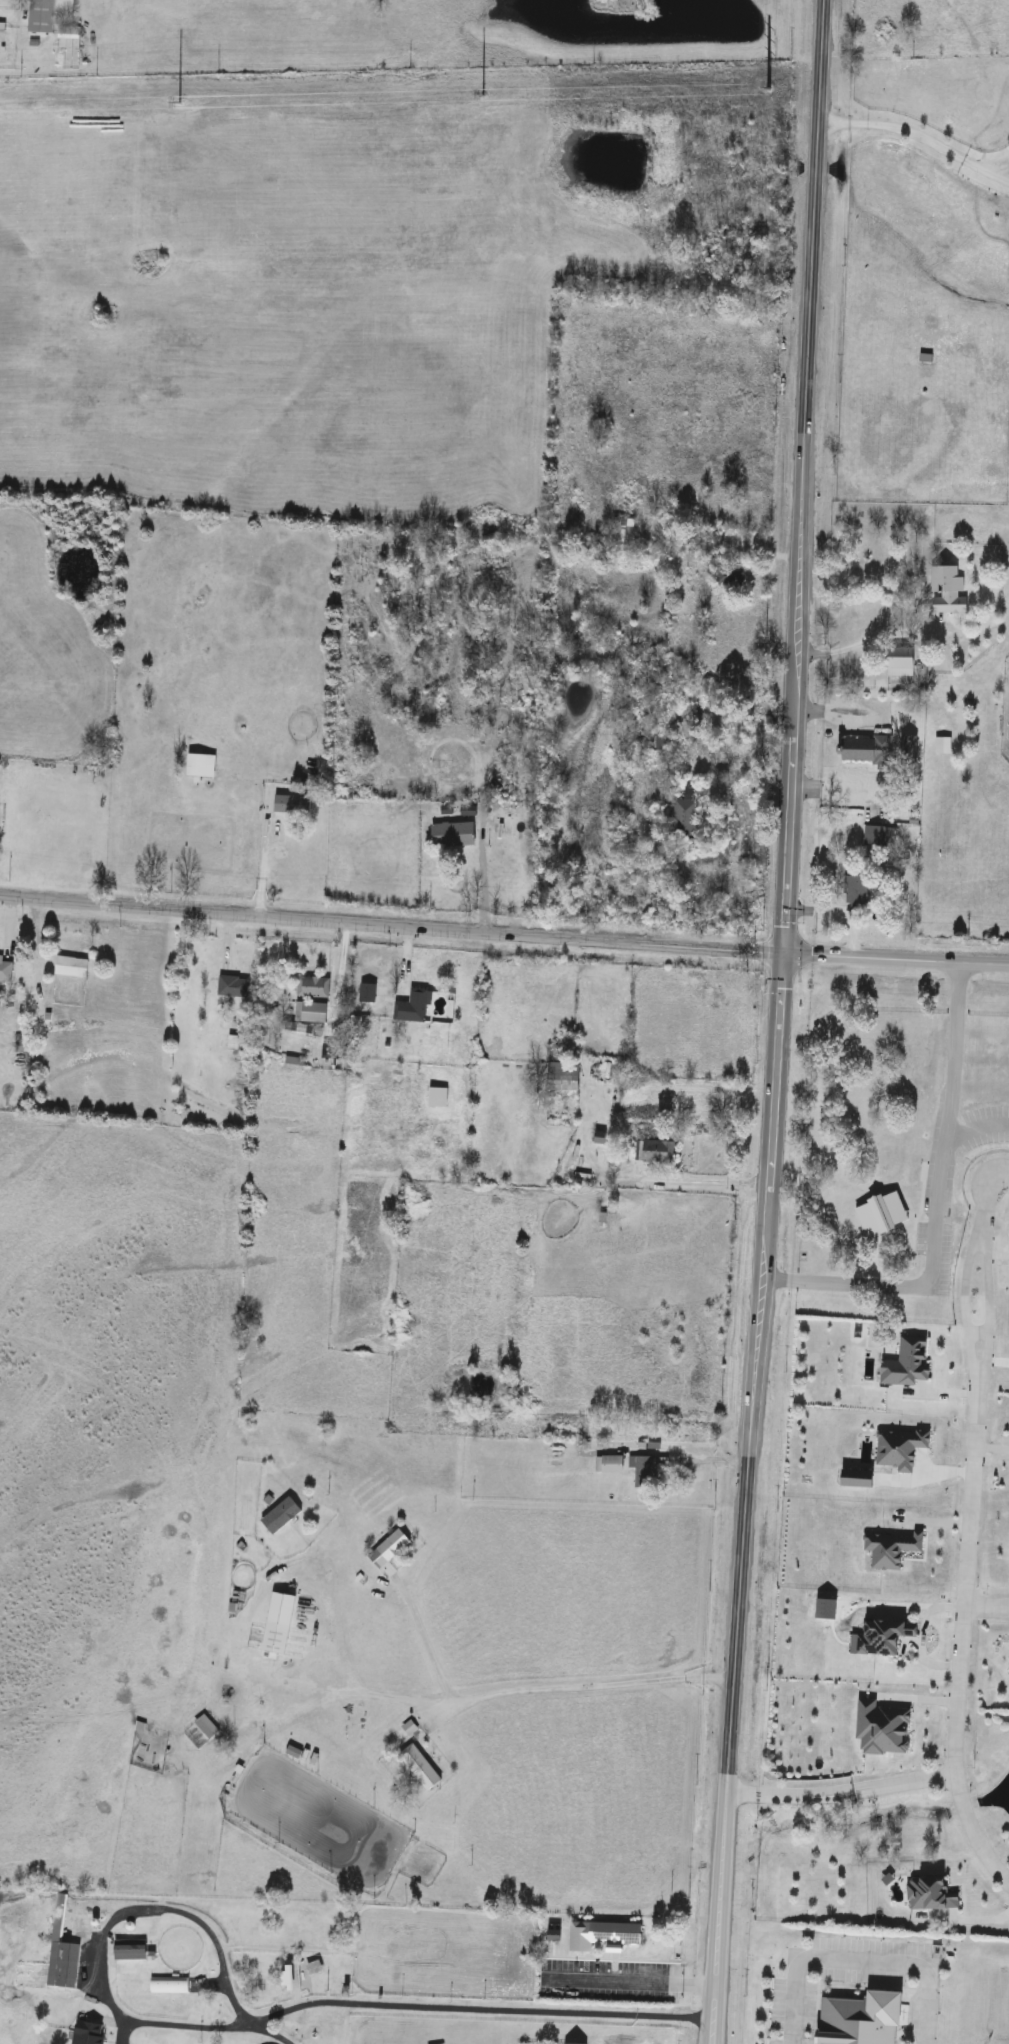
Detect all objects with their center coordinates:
building: (50, 15)
road: (899, 130)
road: (991, 166)
road: (990, 175)
building: (623, 532)
building: (713, 552)
building: (730, 578)
building: (949, 592)
road: (866, 645)
building: (902, 663)
building: (661, 744)
building: (944, 747)
building: (910, 750)
building: (868, 751)
building: (202, 767)
building: (293, 806)
building: (685, 814)
building: (454, 836)
building: (881, 839)
building: (857, 890)
road: (504, 933)
building: (72, 968)
building: (6, 971)
building: (670, 982)
building: (234, 989)
building: (313, 989)
building: (369, 995)
building: (730, 997)
building: (414, 1009)
building: (311, 1014)
road: (775, 1022)
building: (564, 1078)
building: (438, 1099)
building: (658, 1153)
road: (701, 1180)
road: (931, 1203)
road: (711, 1463)
building: (610, 1465)
building: (646, 1470)
road: (968, 1534)
building: (390, 1552)
road: (986, 1607)
building: (279, 1624)
road: (417, 1648)
road: (595, 1685)
building: (207, 1728)
building: (420, 1768)
road: (898, 1775)
road: (785, 1785)
road: (151, 1909)
building: (84, 1925)
building: (617, 1935)
building: (133, 1952)
road: (859, 1962)
building: (315, 1969)
building: (288, 1979)
road: (628, 1984)
building: (166, 1987)
road: (482, 2009)
building: (861, 2020)
road: (190, 2025)
road: (274, 2032)
building: (89, 2034)

